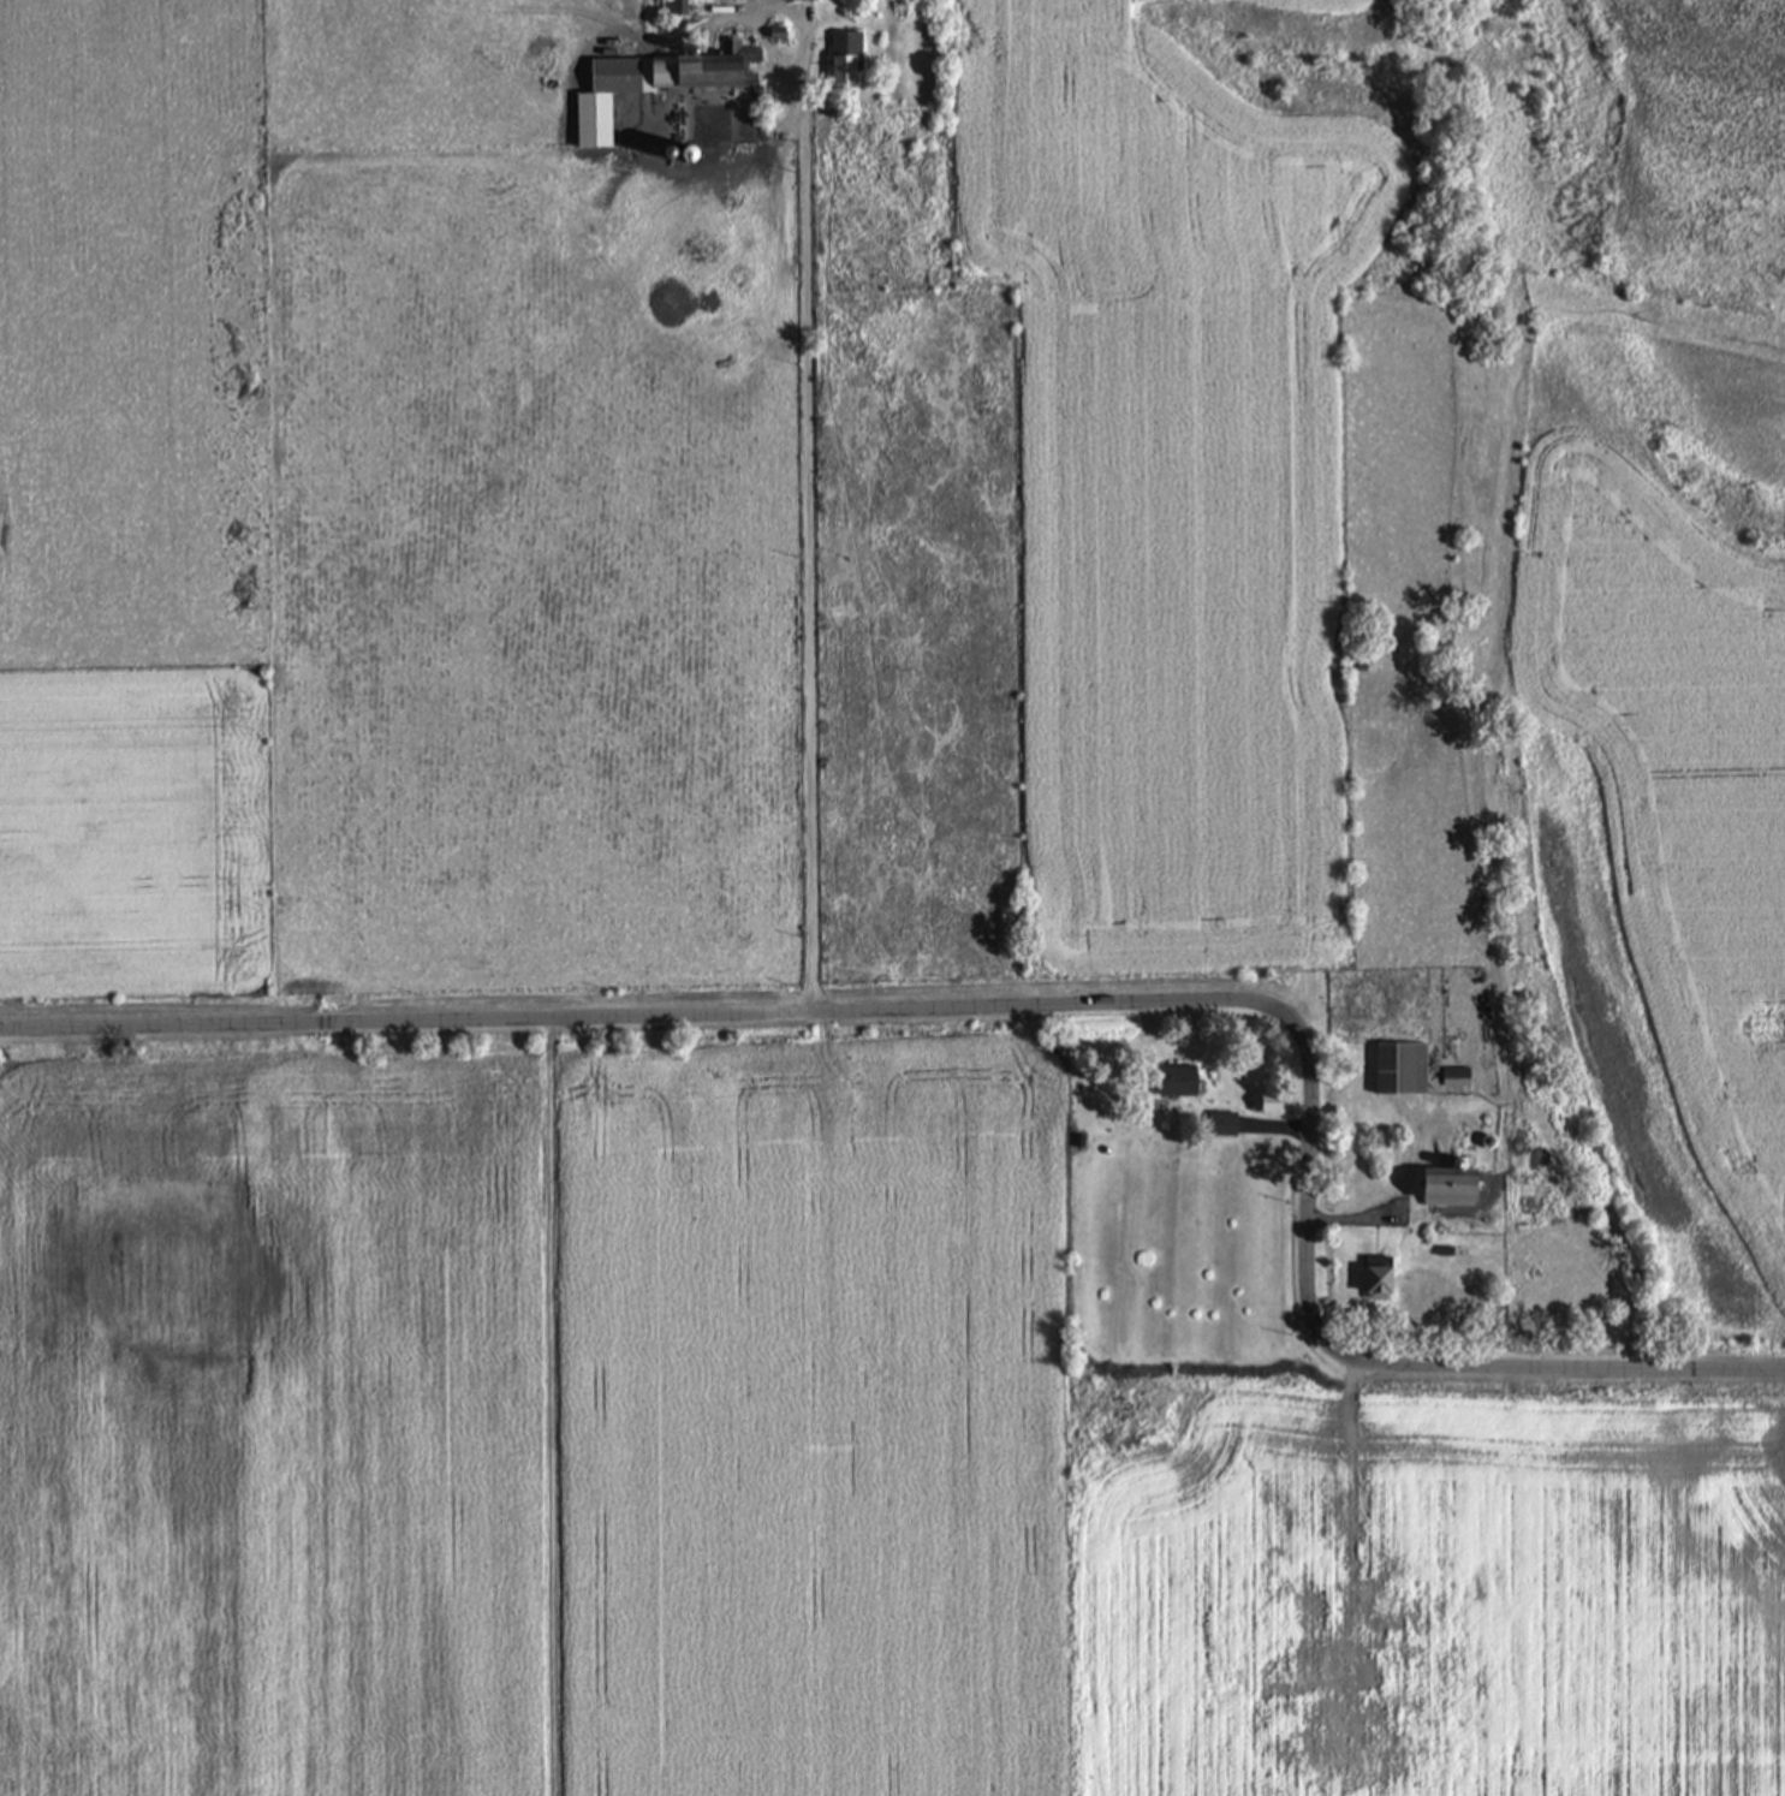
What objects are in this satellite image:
building: (673, 7)
building: (775, 34)
building: (844, 55)
building: (649, 82)
building: (673, 151)
silo: (673, 151)
building: (691, 153)
silo: (691, 153)
road: (807, 450)
road: (1046, 1004)
building: (1397, 1066)
building: (1454, 1075)
building: (1174, 1077)
building: (1262, 1101)
building: (1219, 1123)
road: (1275, 1125)
building: (1446, 1185)
road: (1394, 1199)
building: (1444, 1249)
building: (1375, 1277)
road: (1350, 1505)
building: (1301, 1606)
building: (1381, 1611)
building: (1350, 1670)
building: (1225, 1676)
building: (1320, 1708)

